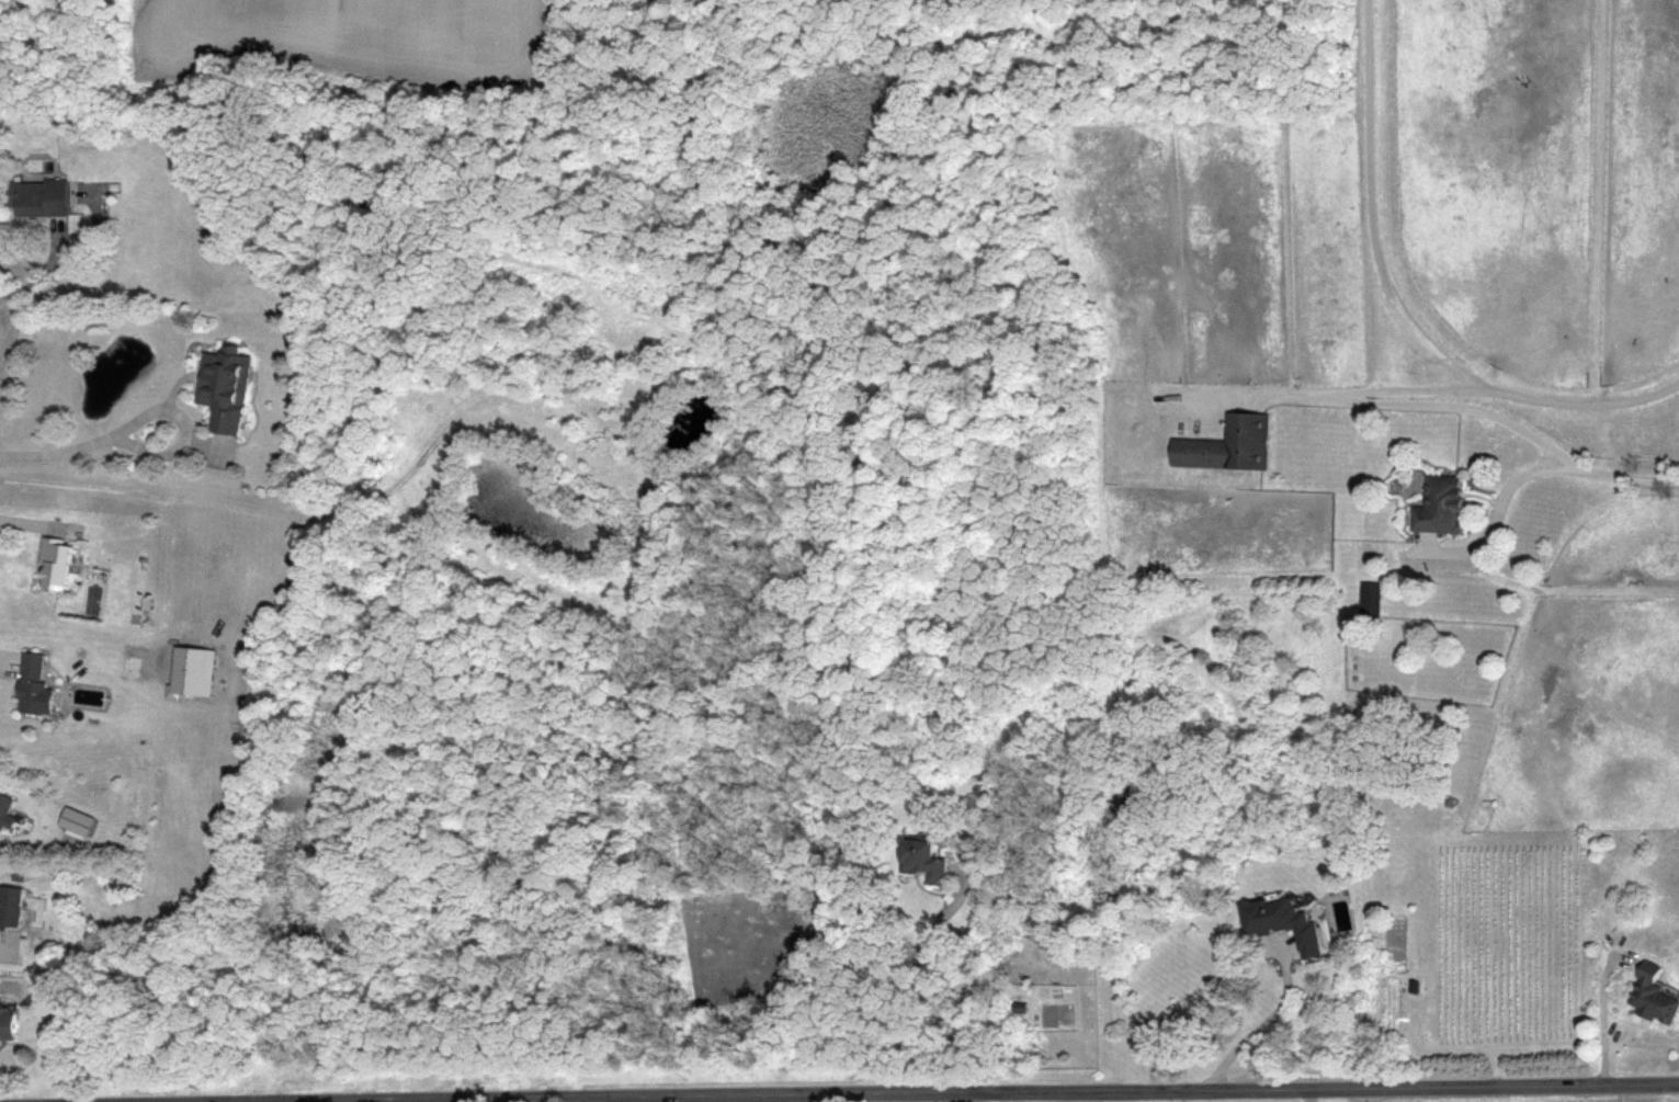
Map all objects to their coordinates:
building: (1090, 135)
building: (37, 197)
road: (11, 318)
building: (225, 386)
road: (1396, 400)
road: (169, 406)
building: (1229, 443)
road: (63, 451)
road: (1524, 472)
building: (1440, 504)
building: (55, 561)
building: (34, 684)
building: (5, 813)
building: (923, 859)
building: (11, 905)
building: (1283, 921)
road: (12, 946)
road: (916, 973)
building: (1655, 995)
road: (1606, 1019)
road: (1271, 1020)
building: (7, 1022)
road: (941, 1089)
road: (794, 1098)
road: (507, 1100)
road: (349, 1101)

